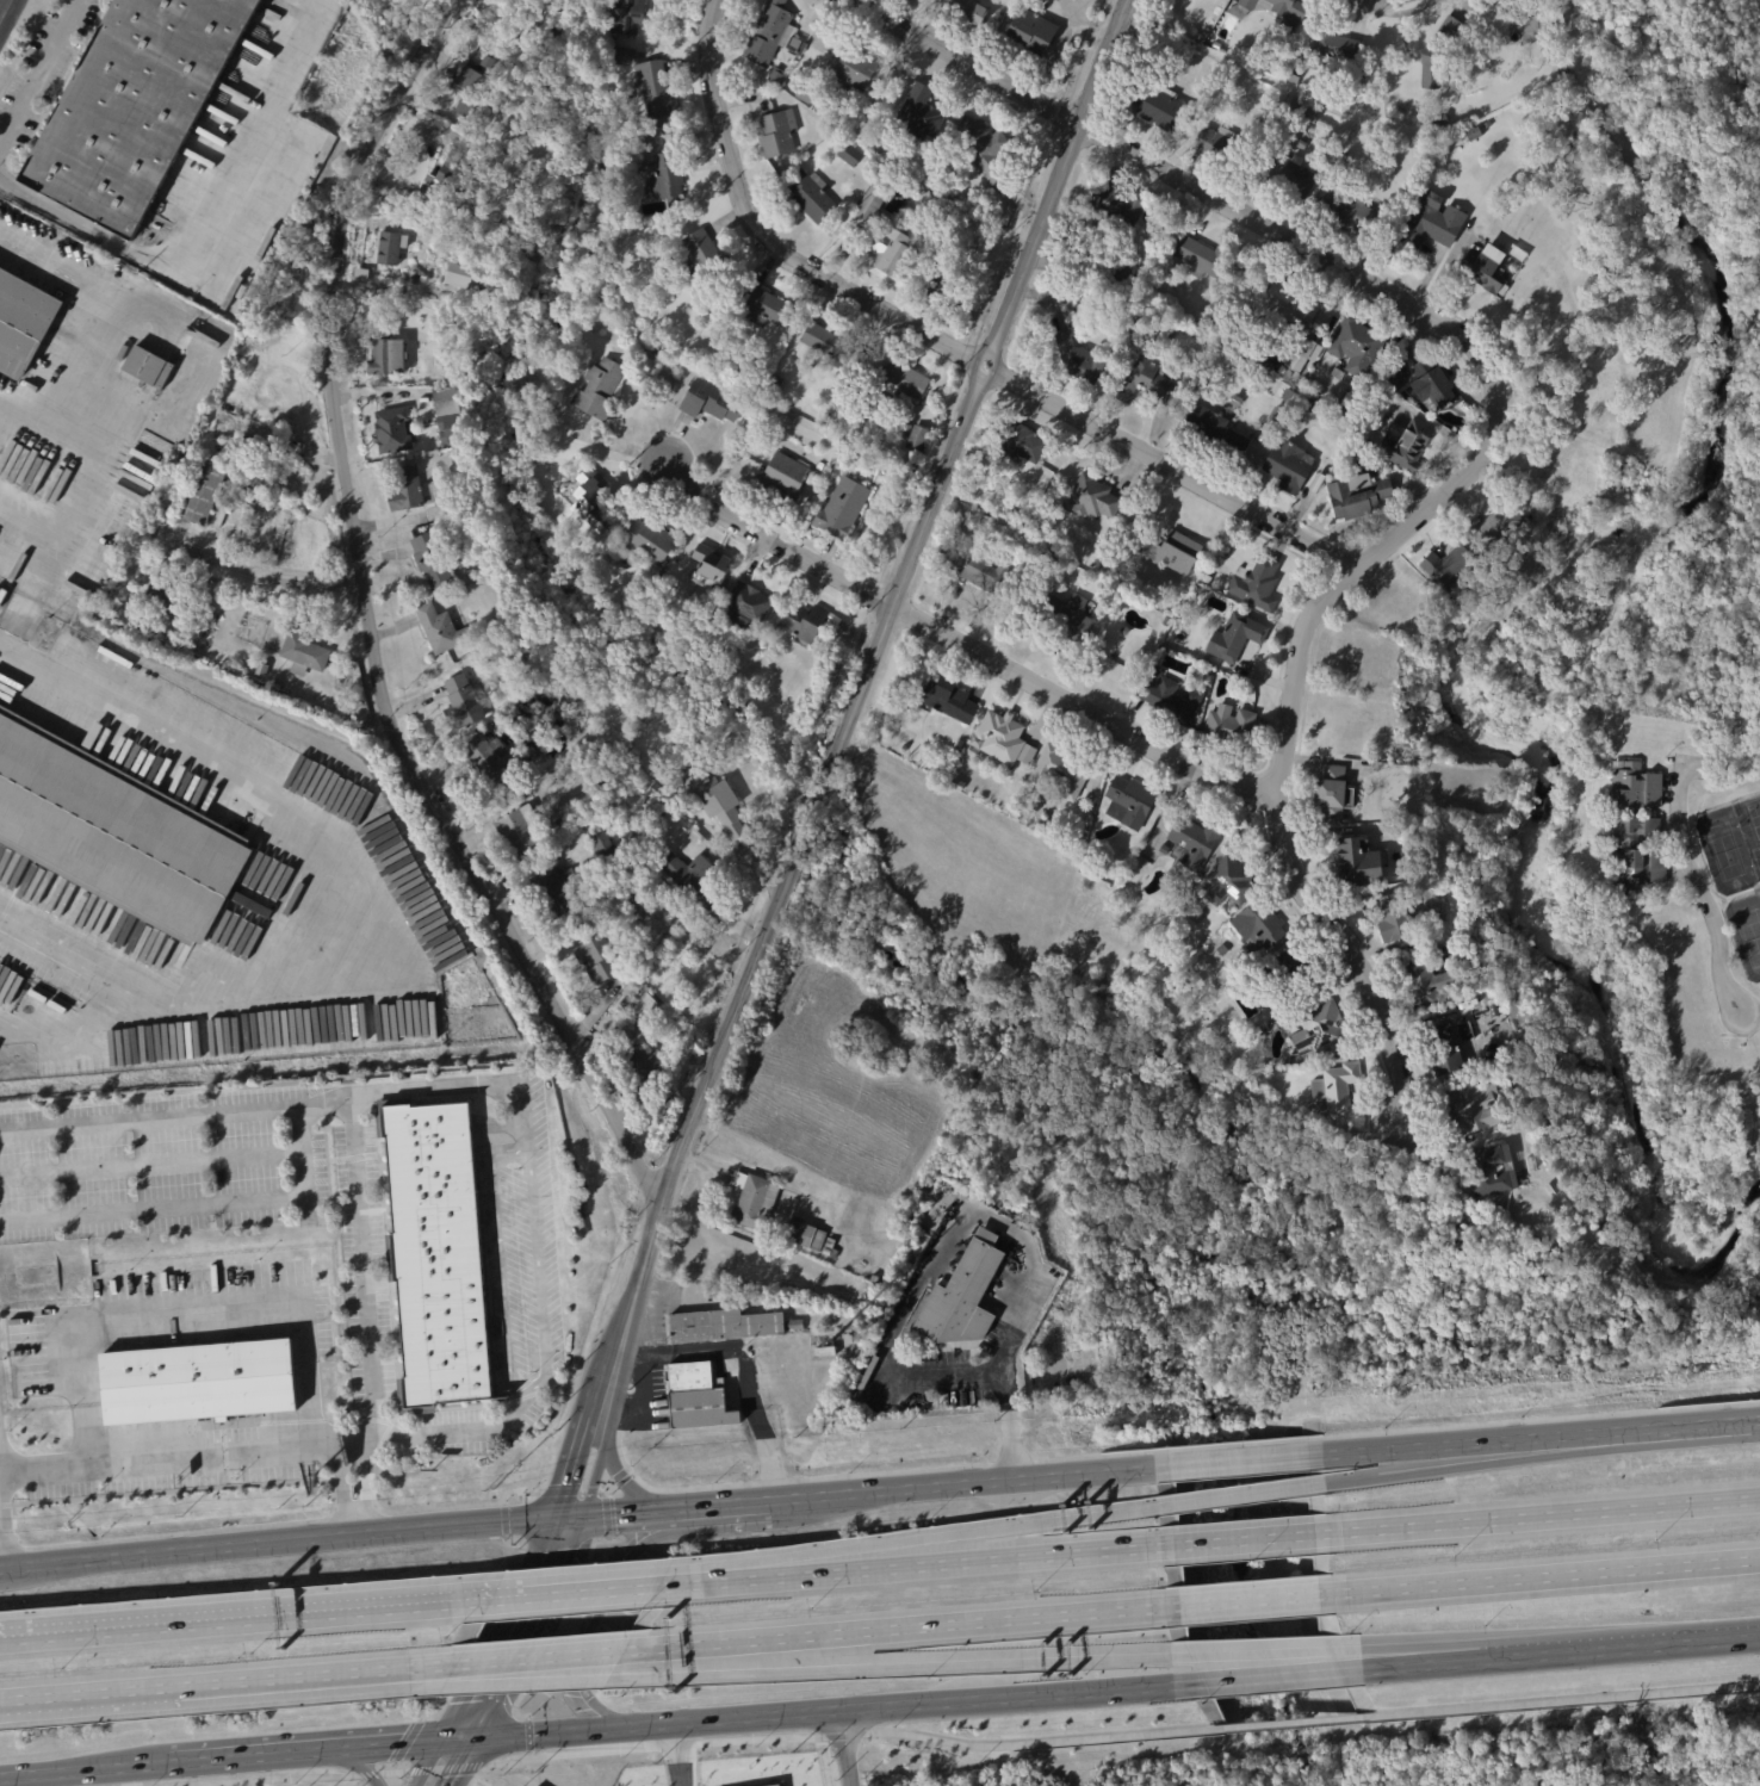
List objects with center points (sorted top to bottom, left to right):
building: (1247, 4)
road: (450, 5)
building: (974, 11)
building: (1285, 12)
building: (626, 15)
building: (1030, 31)
building: (771, 36)
building: (1200, 37)
building: (1215, 45)
building: (1337, 46)
building: (1284, 50)
building: (1438, 54)
road: (962, 61)
road: (1098, 61)
building: (1276, 68)
road: (39, 69)
road: (707, 69)
building: (848, 69)
parking lot: (41, 70)
building: (1294, 75)
building: (776, 77)
building: (645, 79)
building: (882, 92)
building: (804, 93)
building: (475, 94)
building: (1155, 105)
building: (137, 107)
building: (1302, 111)
building: (919, 114)
building: (1437, 119)
building: (1487, 124)
building: (537, 125)
building: (1253, 128)
building: (661, 134)
building: (776, 134)
building: (1473, 134)
building: (1289, 139)
building: (1265, 142)
building: (1300, 144)
building: (1216, 147)
building: (983, 151)
building: (847, 155)
building: (314, 160)
building: (1344, 162)
building: (508, 163)
building: (1287, 173)
building: (665, 176)
building: (454, 185)
building: (491, 190)
building: (810, 197)
building: (869, 205)
building: (1116, 206)
building: (1346, 210)
building: (984, 211)
road: (202, 217)
building: (1430, 222)
building: (391, 248)
building: (528, 249)
building: (886, 254)
building: (708, 259)
building: (1203, 259)
building: (1115, 271)
building: (1486, 271)
building: (466, 277)
building: (416, 279)
building: (937, 281)
building: (182, 286)
building: (204, 294)
building: (767, 308)
building: (1283, 308)
building: (24, 321)
building: (1171, 335)
building: (1160, 337)
building: (717, 341)
building: (832, 346)
building: (1356, 347)
building: (1302, 354)
building: (388, 355)
building: (1077, 359)
building: (1264, 360)
building: (149, 368)
building: (1337, 374)
road: (1006, 377)
building: (904, 383)
building: (1144, 383)
building: (1429, 383)
building: (601, 389)
building: (779, 390)
building: (1233, 401)
building: (714, 402)
building: (1309, 405)
building: (1346, 410)
building: (1273, 415)
building: (837, 420)
building: (452, 422)
building: (393, 432)
building: (1211, 432)
road: (50, 436)
building: (921, 439)
building: (1018, 444)
building: (1406, 446)
road: (950, 452)
building: (822, 466)
building: (1288, 469)
building: (785, 477)
building: (408, 490)
building: (204, 494)
building: (1356, 496)
building: (248, 497)
building: (1092, 498)
building: (597, 503)
building: (845, 509)
building: (1010, 509)
building: (223, 515)
building: (465, 520)
road: (1408, 520)
building: (456, 521)
building: (1493, 525)
building: (652, 540)
building: (1172, 553)
building: (436, 560)
building: (715, 564)
building: (1449, 569)
building: (464, 570)
building: (1025, 571)
building: (981, 576)
road: (266, 577)
building: (1206, 579)
building: (1254, 584)
building: (169, 601)
building: (751, 603)
building: (120, 609)
building: (1064, 616)
building: (1182, 620)
building: (1165, 621)
building: (807, 622)
road: (368, 628)
building: (442, 630)
building: (1123, 631)
building: (777, 633)
building: (1233, 638)
road: (961, 641)
building: (1113, 649)
building: (306, 652)
building: (264, 670)
building: (1169, 699)
building: (947, 701)
building: (563, 702)
building: (465, 703)
building: (518, 713)
building: (1227, 727)
building: (996, 734)
building: (955, 744)
road: (1723, 758)
building: (492, 761)
building: (1059, 770)
road: (1723, 774)
building: (953, 782)
building: (1634, 788)
building: (1328, 794)
road: (818, 798)
building: (717, 799)
building: (1030, 804)
building: (1127, 804)
building: (571, 819)
building: (1632, 830)
park: (1749, 830)
building: (116, 832)
building: (522, 832)
building: (645, 838)
building: (603, 844)
building: (1190, 845)
park: (1721, 849)
building: (1161, 850)
building: (1359, 863)
building: (1637, 870)
building: (693, 876)
building: (1226, 882)
road: (1700, 889)
building: (560, 892)
park: (1759, 892)
road: (339, 895)
building: (638, 900)
building: (250, 904)
building: (647, 908)
building: (1394, 919)
building: (1256, 928)
park: (1744, 931)
building: (601, 960)
building: (1288, 965)
building: (1273, 972)
building: (1421, 985)
building: (642, 1005)
road: (1749, 1013)
building: (663, 1015)
building: (647, 1024)
road: (80, 1029)
building: (1315, 1029)
building: (1446, 1048)
building: (646, 1071)
road: (465, 1086)
building: (1334, 1089)
building: (1468, 1108)
road: (352, 1148)
building: (1530, 1162)
road: (675, 1164)
building: (1489, 1170)
building: (1551, 1189)
building: (752, 1205)
road: (196, 1207)
road: (977, 1213)
building: (804, 1236)
parking lot: (522, 1239)
building: (830, 1249)
building: (439, 1255)
road: (498, 1266)
road: (537, 1282)
building: (962, 1296)
road: (192, 1320)
building: (720, 1326)
building: (795, 1326)
building: (197, 1381)
building: (696, 1399)
road: (1717, 1424)
road: (442, 1432)
road: (762, 1437)
road: (1495, 1441)
road: (174, 1461)
road: (1496, 1461)
road: (1232, 1462)
road: (622, 1476)
road: (963, 1484)
road: (1238, 1495)
road: (727, 1507)
road: (1535, 1514)
road: (616, 1515)
traffic signals: (559, 1520)
road: (930, 1538)
road: (1237, 1538)
road: (280, 1544)
road: (1, 1554)
road: (900, 1563)
road: (1, 1568)
road: (1544, 1574)
road: (556, 1592)
road: (1250, 1598)
road: (321, 1610)
road: (594, 1613)
road: (85, 1626)
road: (893, 1630)
road: (1641, 1643)
road: (1262, 1651)
road: (1436, 1651)
road: (498, 1654)
road: (1440, 1661)
road: (526, 1662)
road: (887, 1667)
road: (399, 1672)
road: (1269, 1675)
road: (393, 1680)
road: (1756, 1681)
road: (514, 1682)
road: (180, 1689)
road: (1564, 1698)
road: (822, 1709)
road: (1296, 1719)
traffic signals: (463, 1734)
road: (402, 1738)
road: (686, 1743)
road: (845, 1747)
road: (254, 1750)
road: (681, 1753)
road: (361, 1763)
road: (83, 1768)

